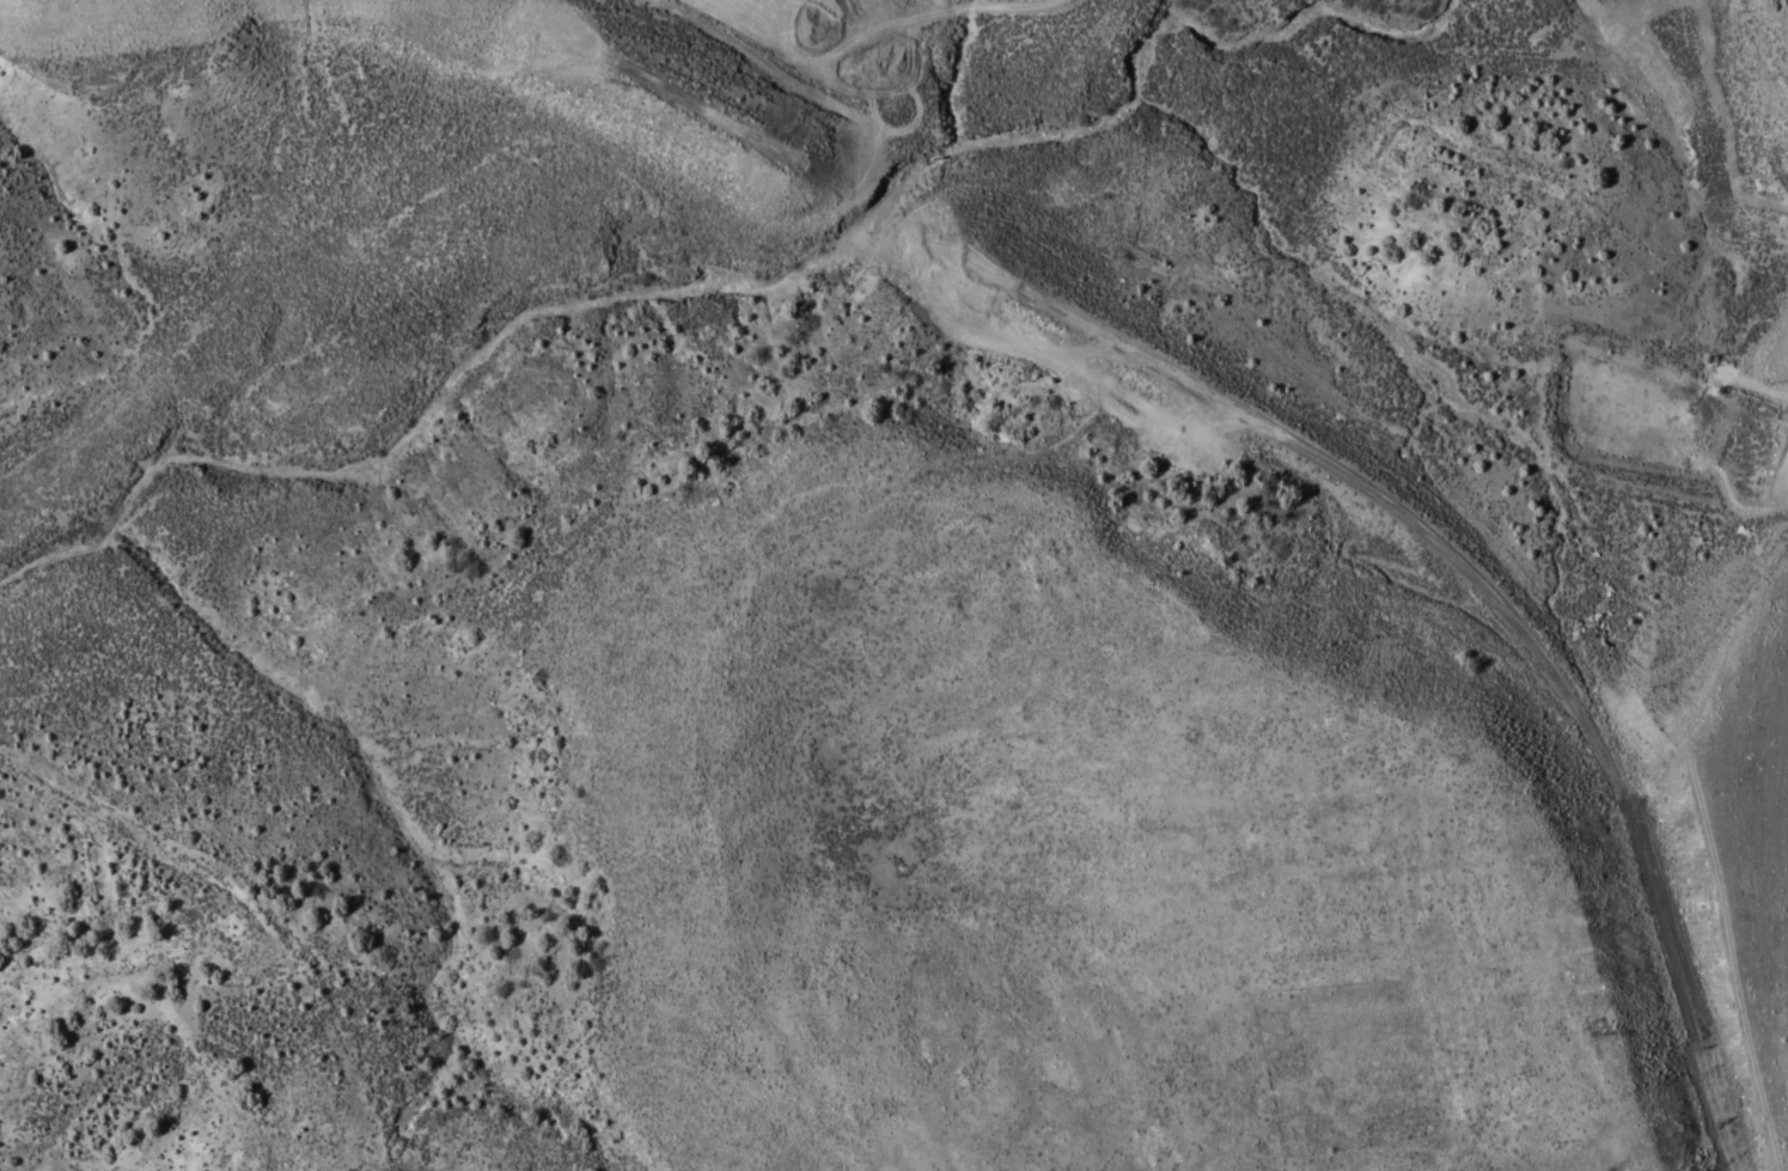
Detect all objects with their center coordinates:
railway: (102, 8)
railway: (616, 55)
railway: (891, 208)
railway: (1496, 602)

